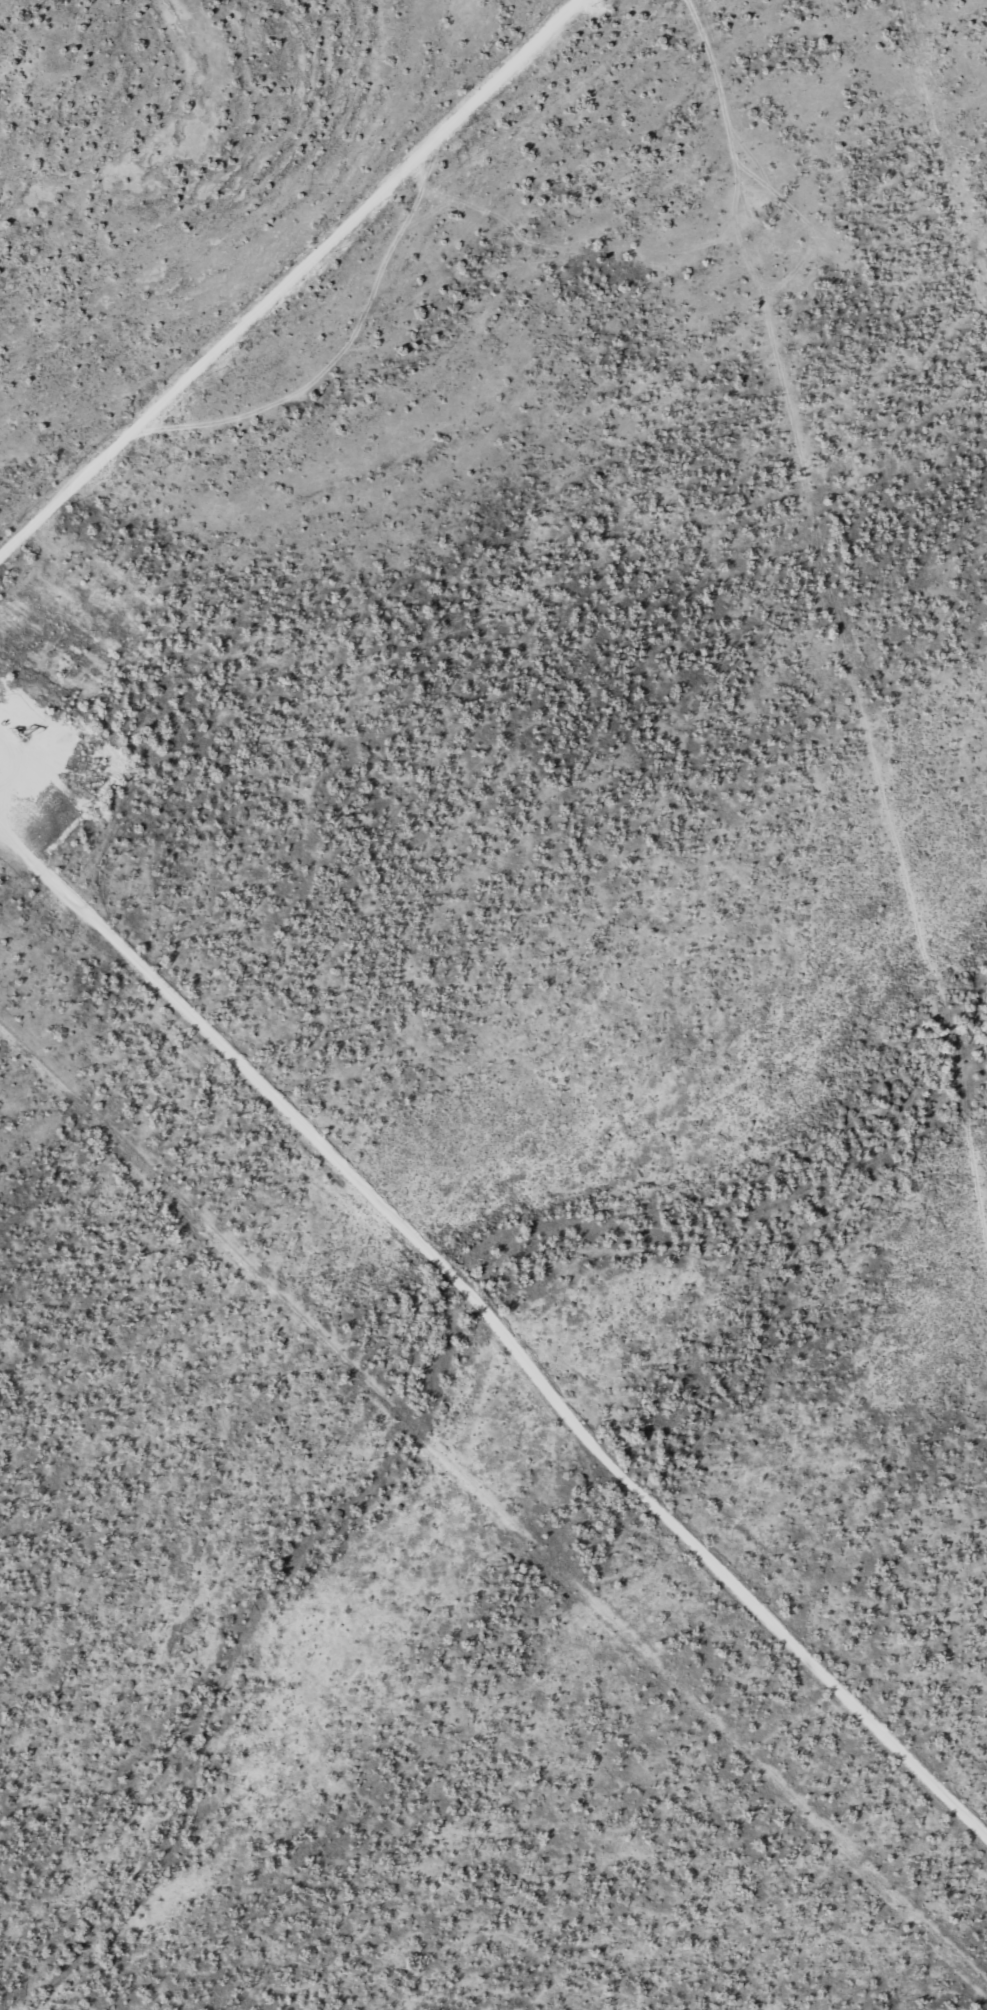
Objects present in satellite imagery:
road: (476, 1311)

